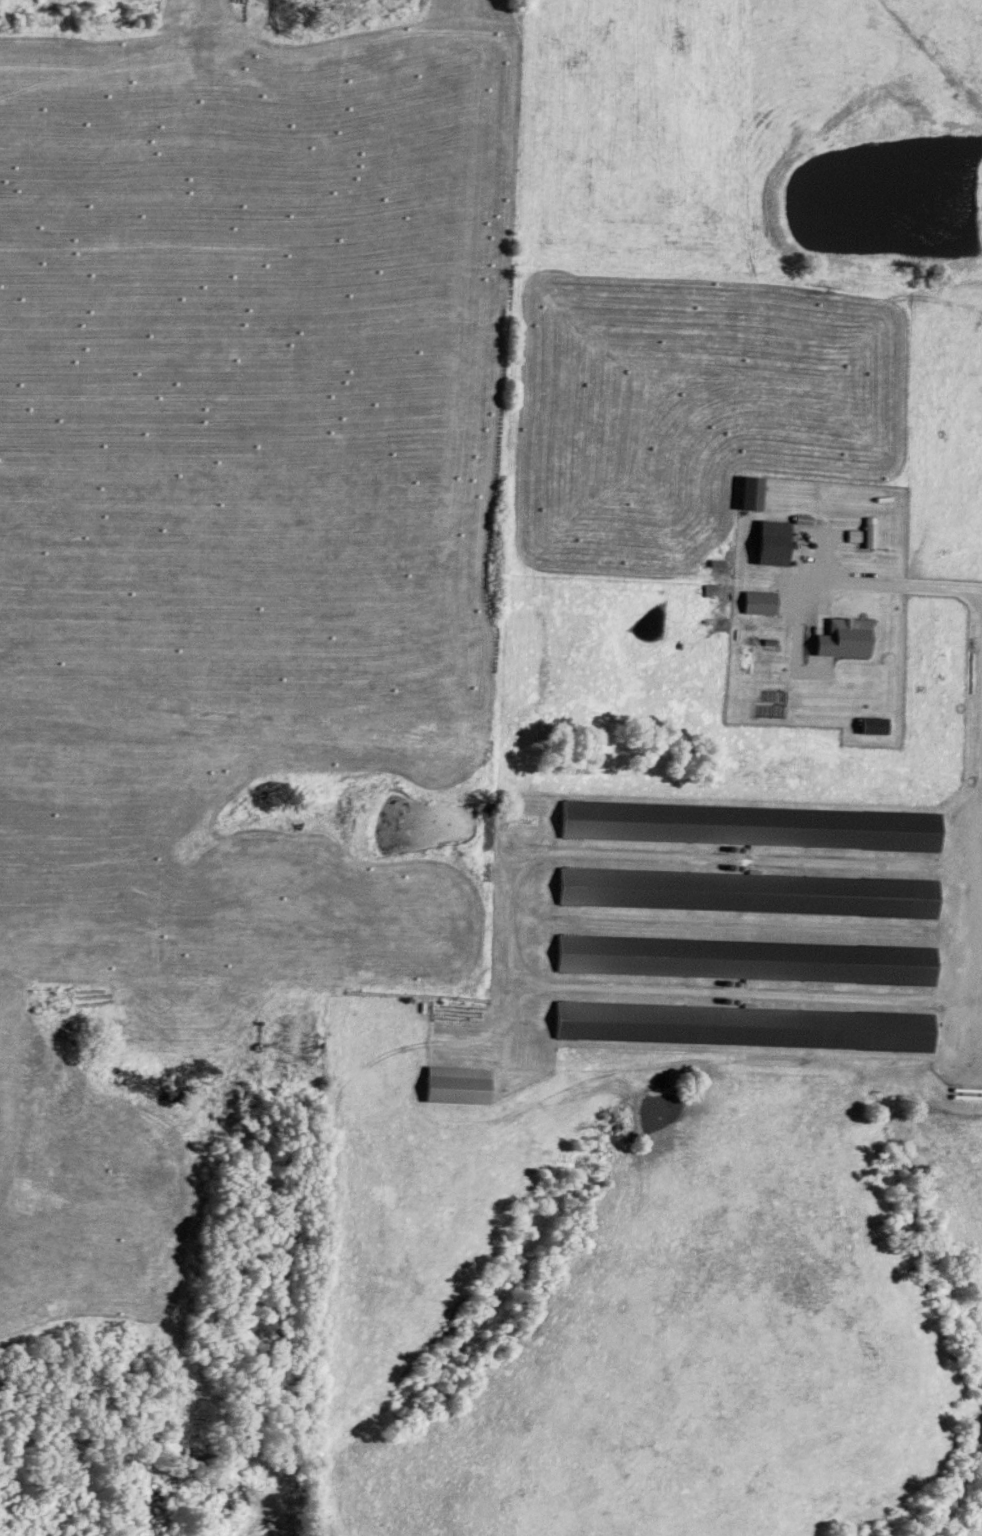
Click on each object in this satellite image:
building: (751, 495)
building: (773, 545)
road: (898, 587)
building: (759, 604)
building: (799, 636)
building: (747, 651)

